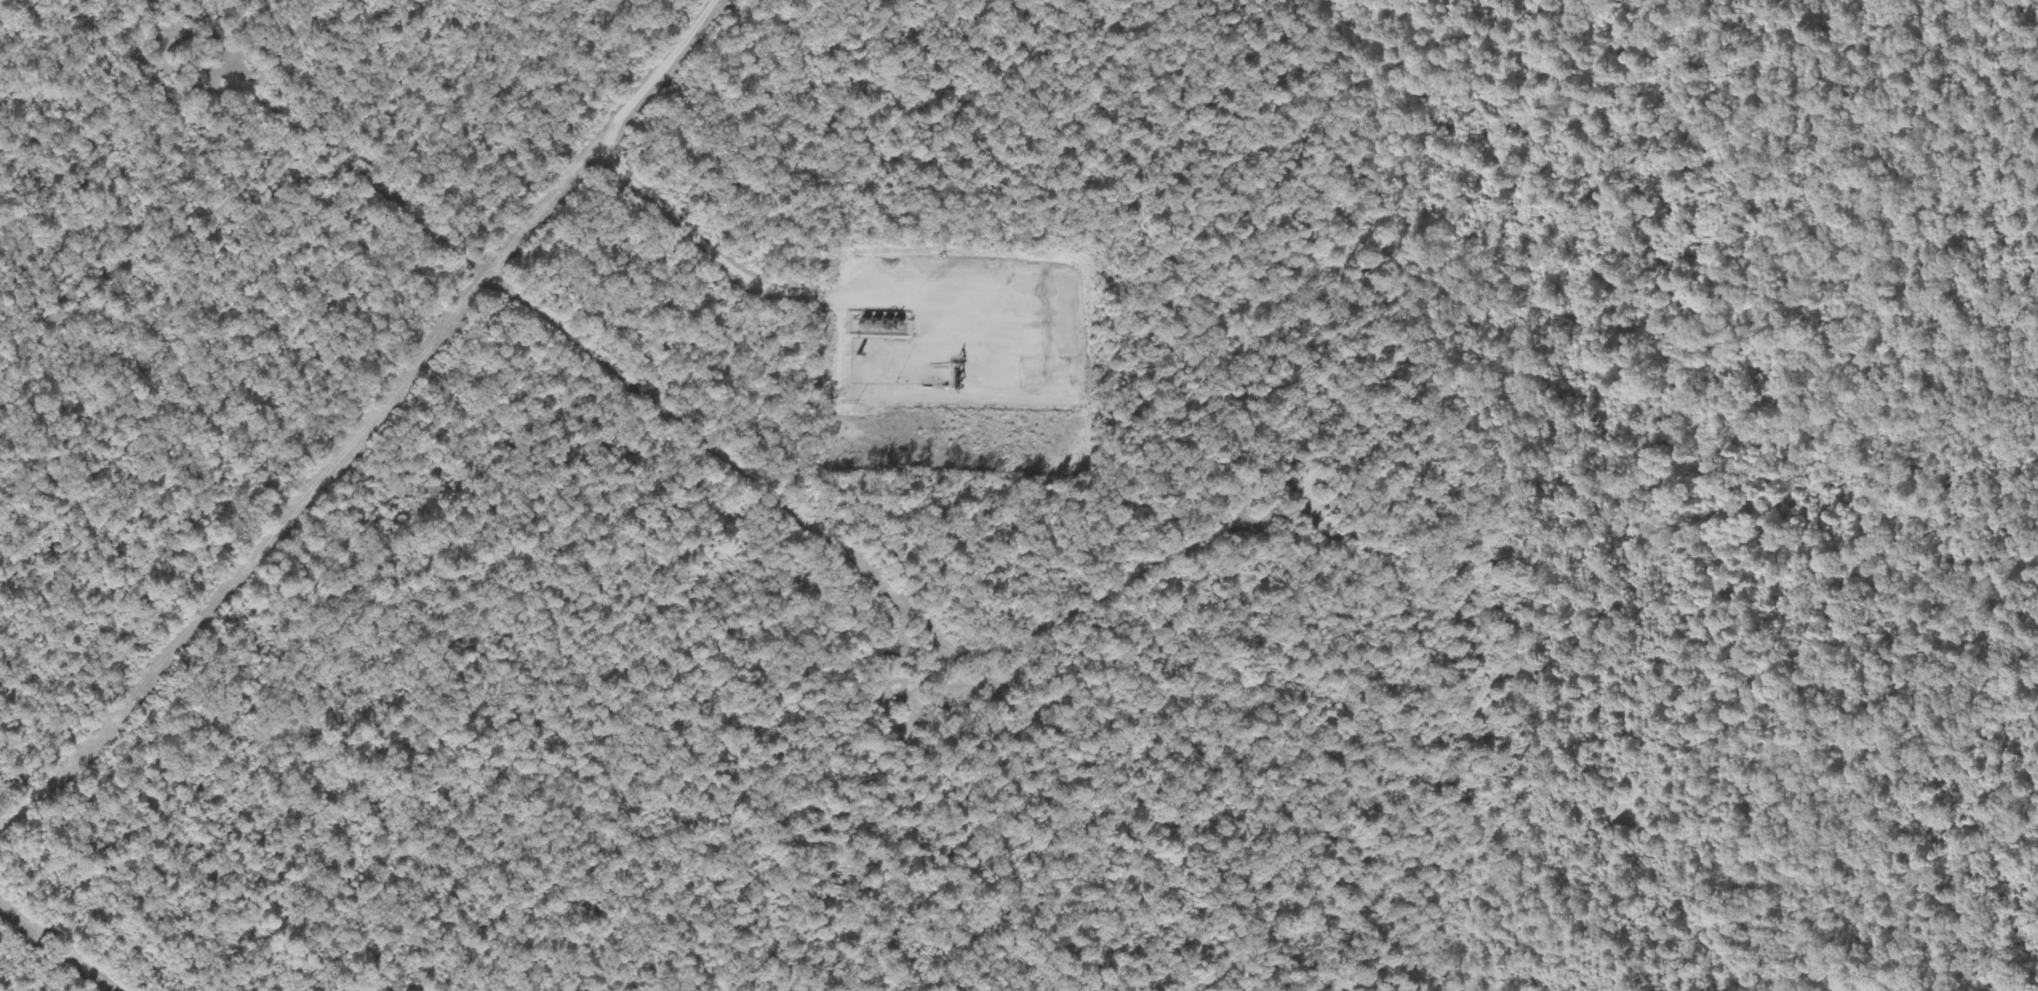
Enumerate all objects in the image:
road: (356, 428)

